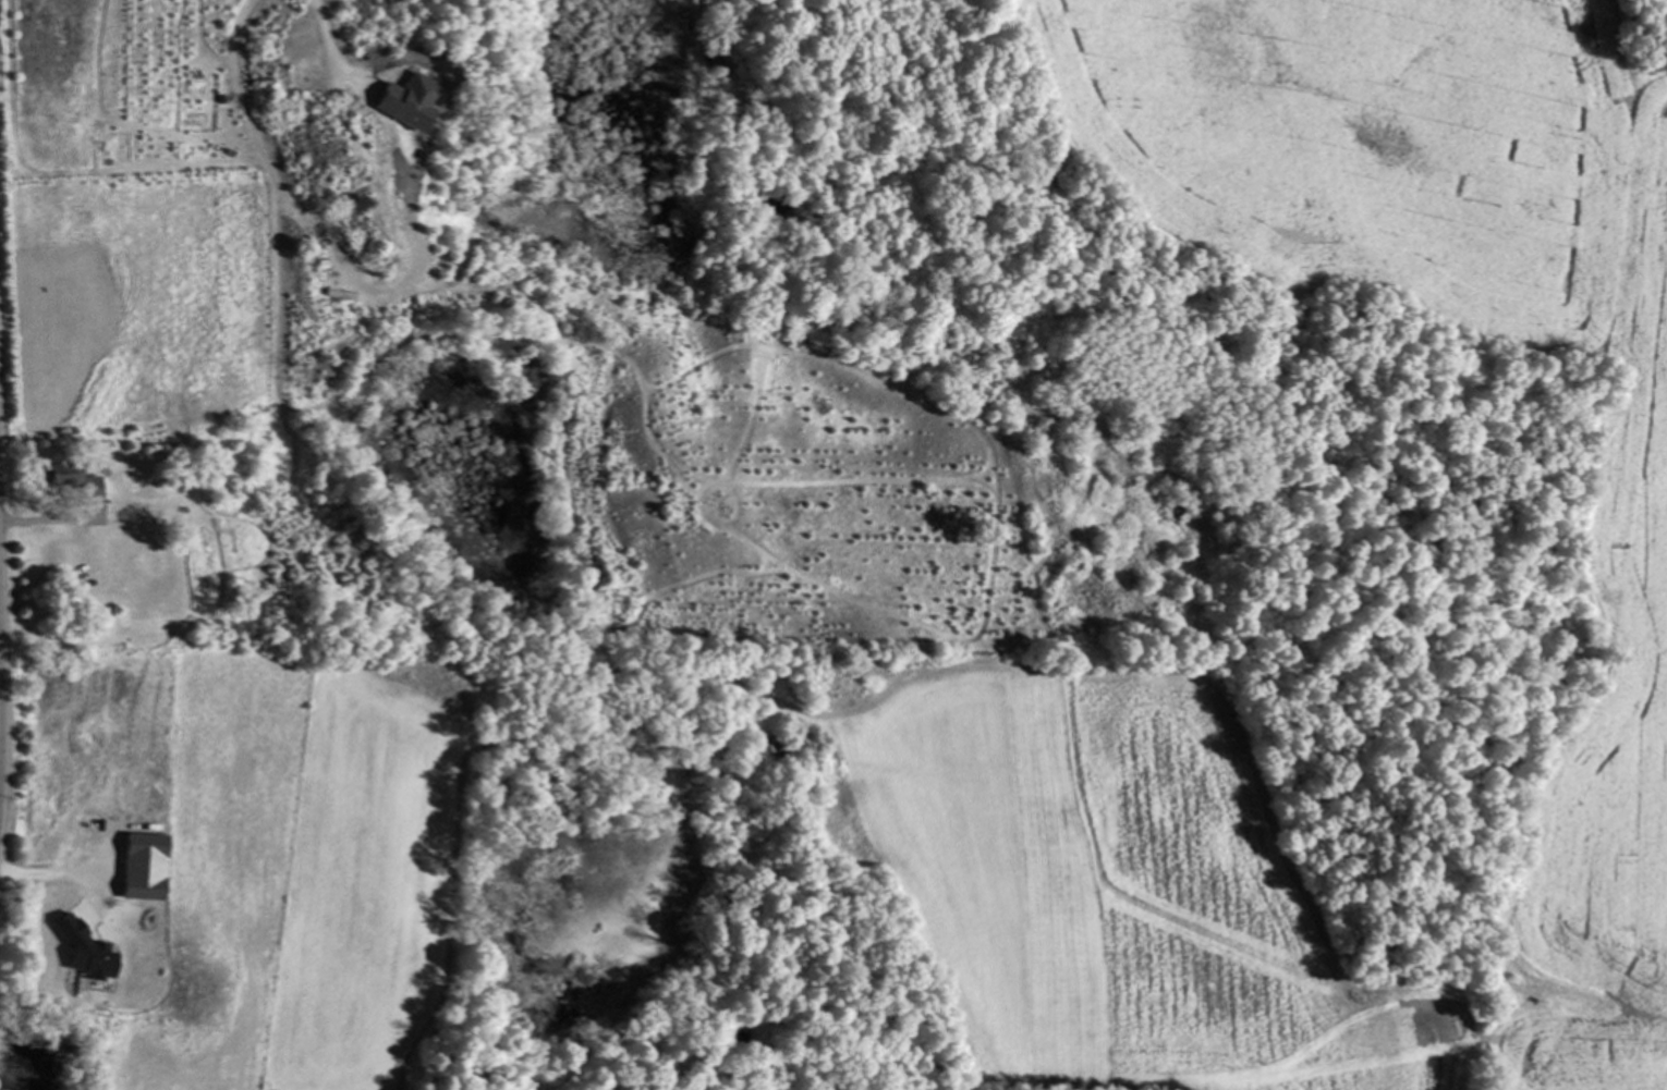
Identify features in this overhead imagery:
building: (75, 482)

